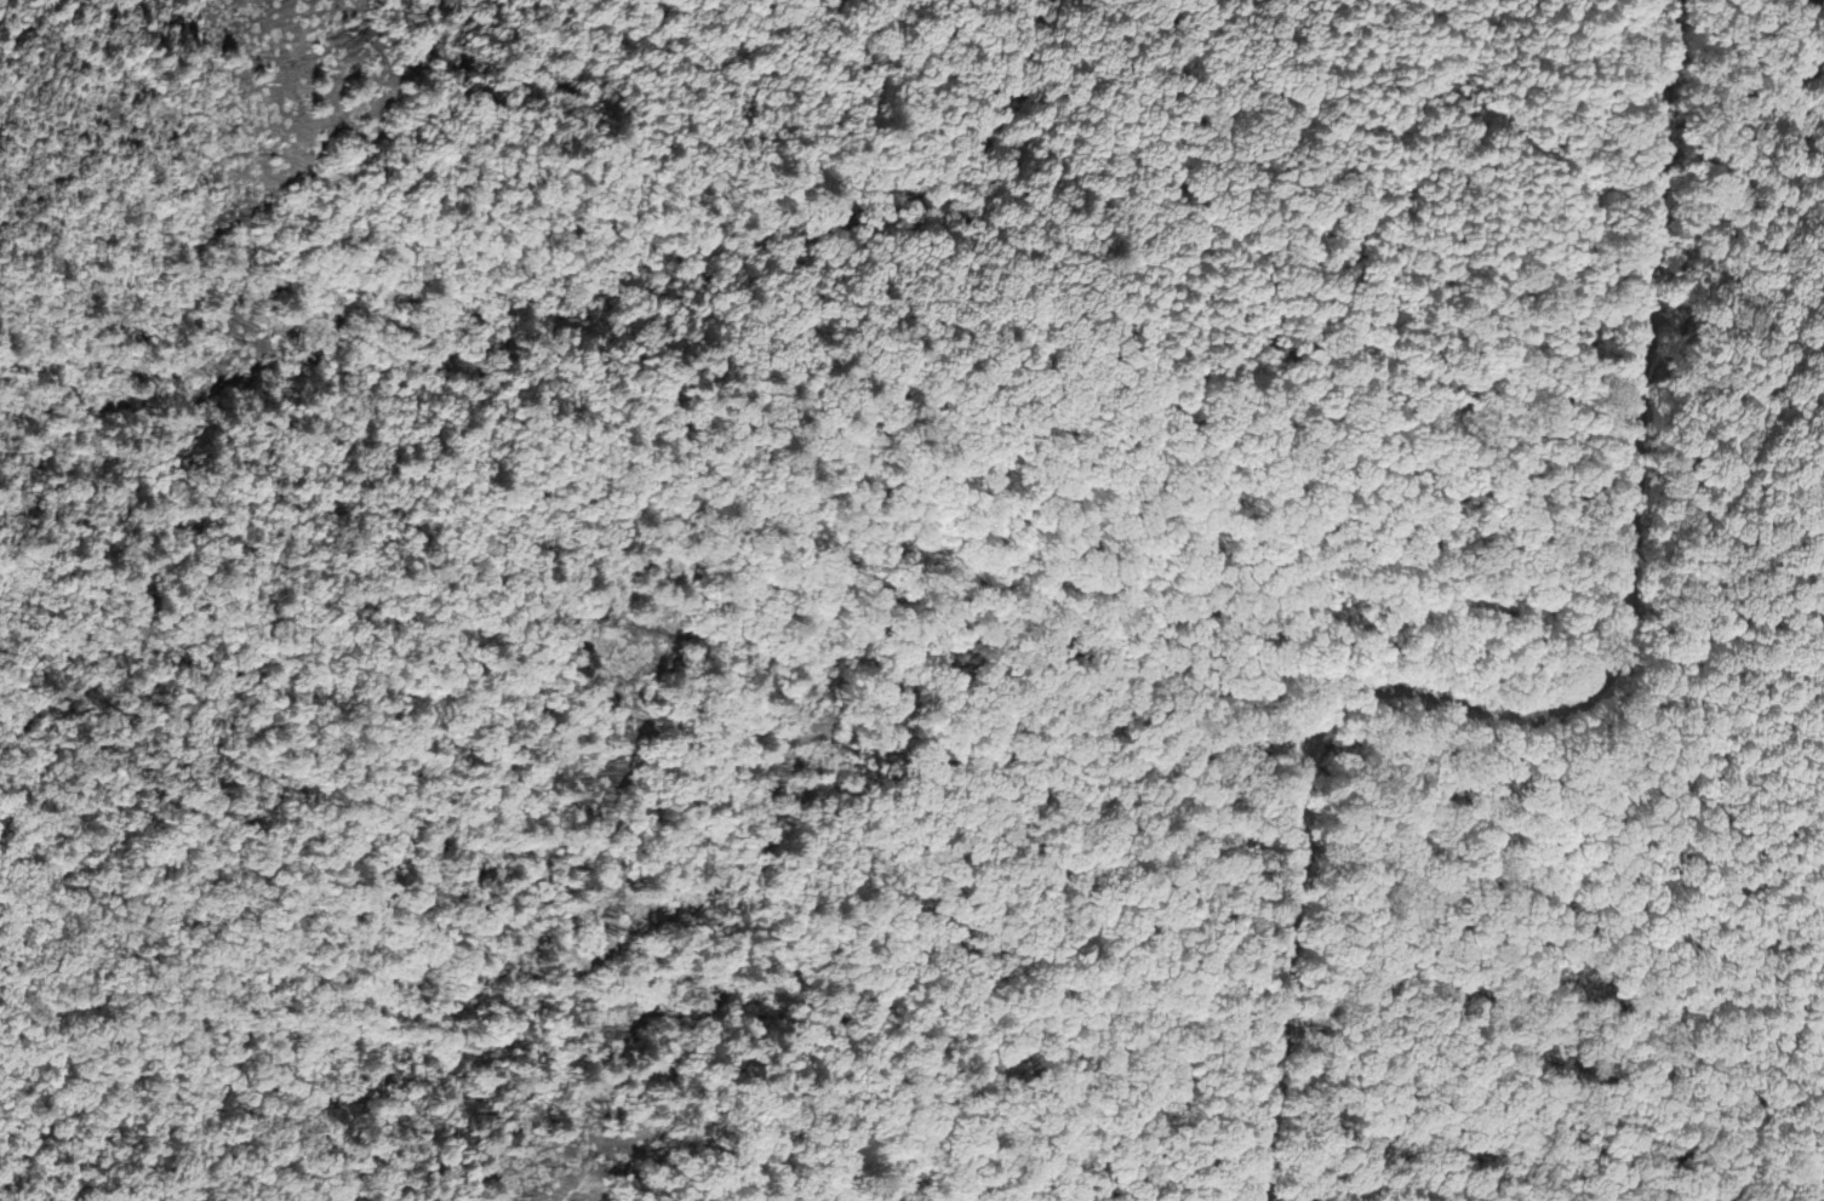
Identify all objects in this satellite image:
road: (1559, 708)

